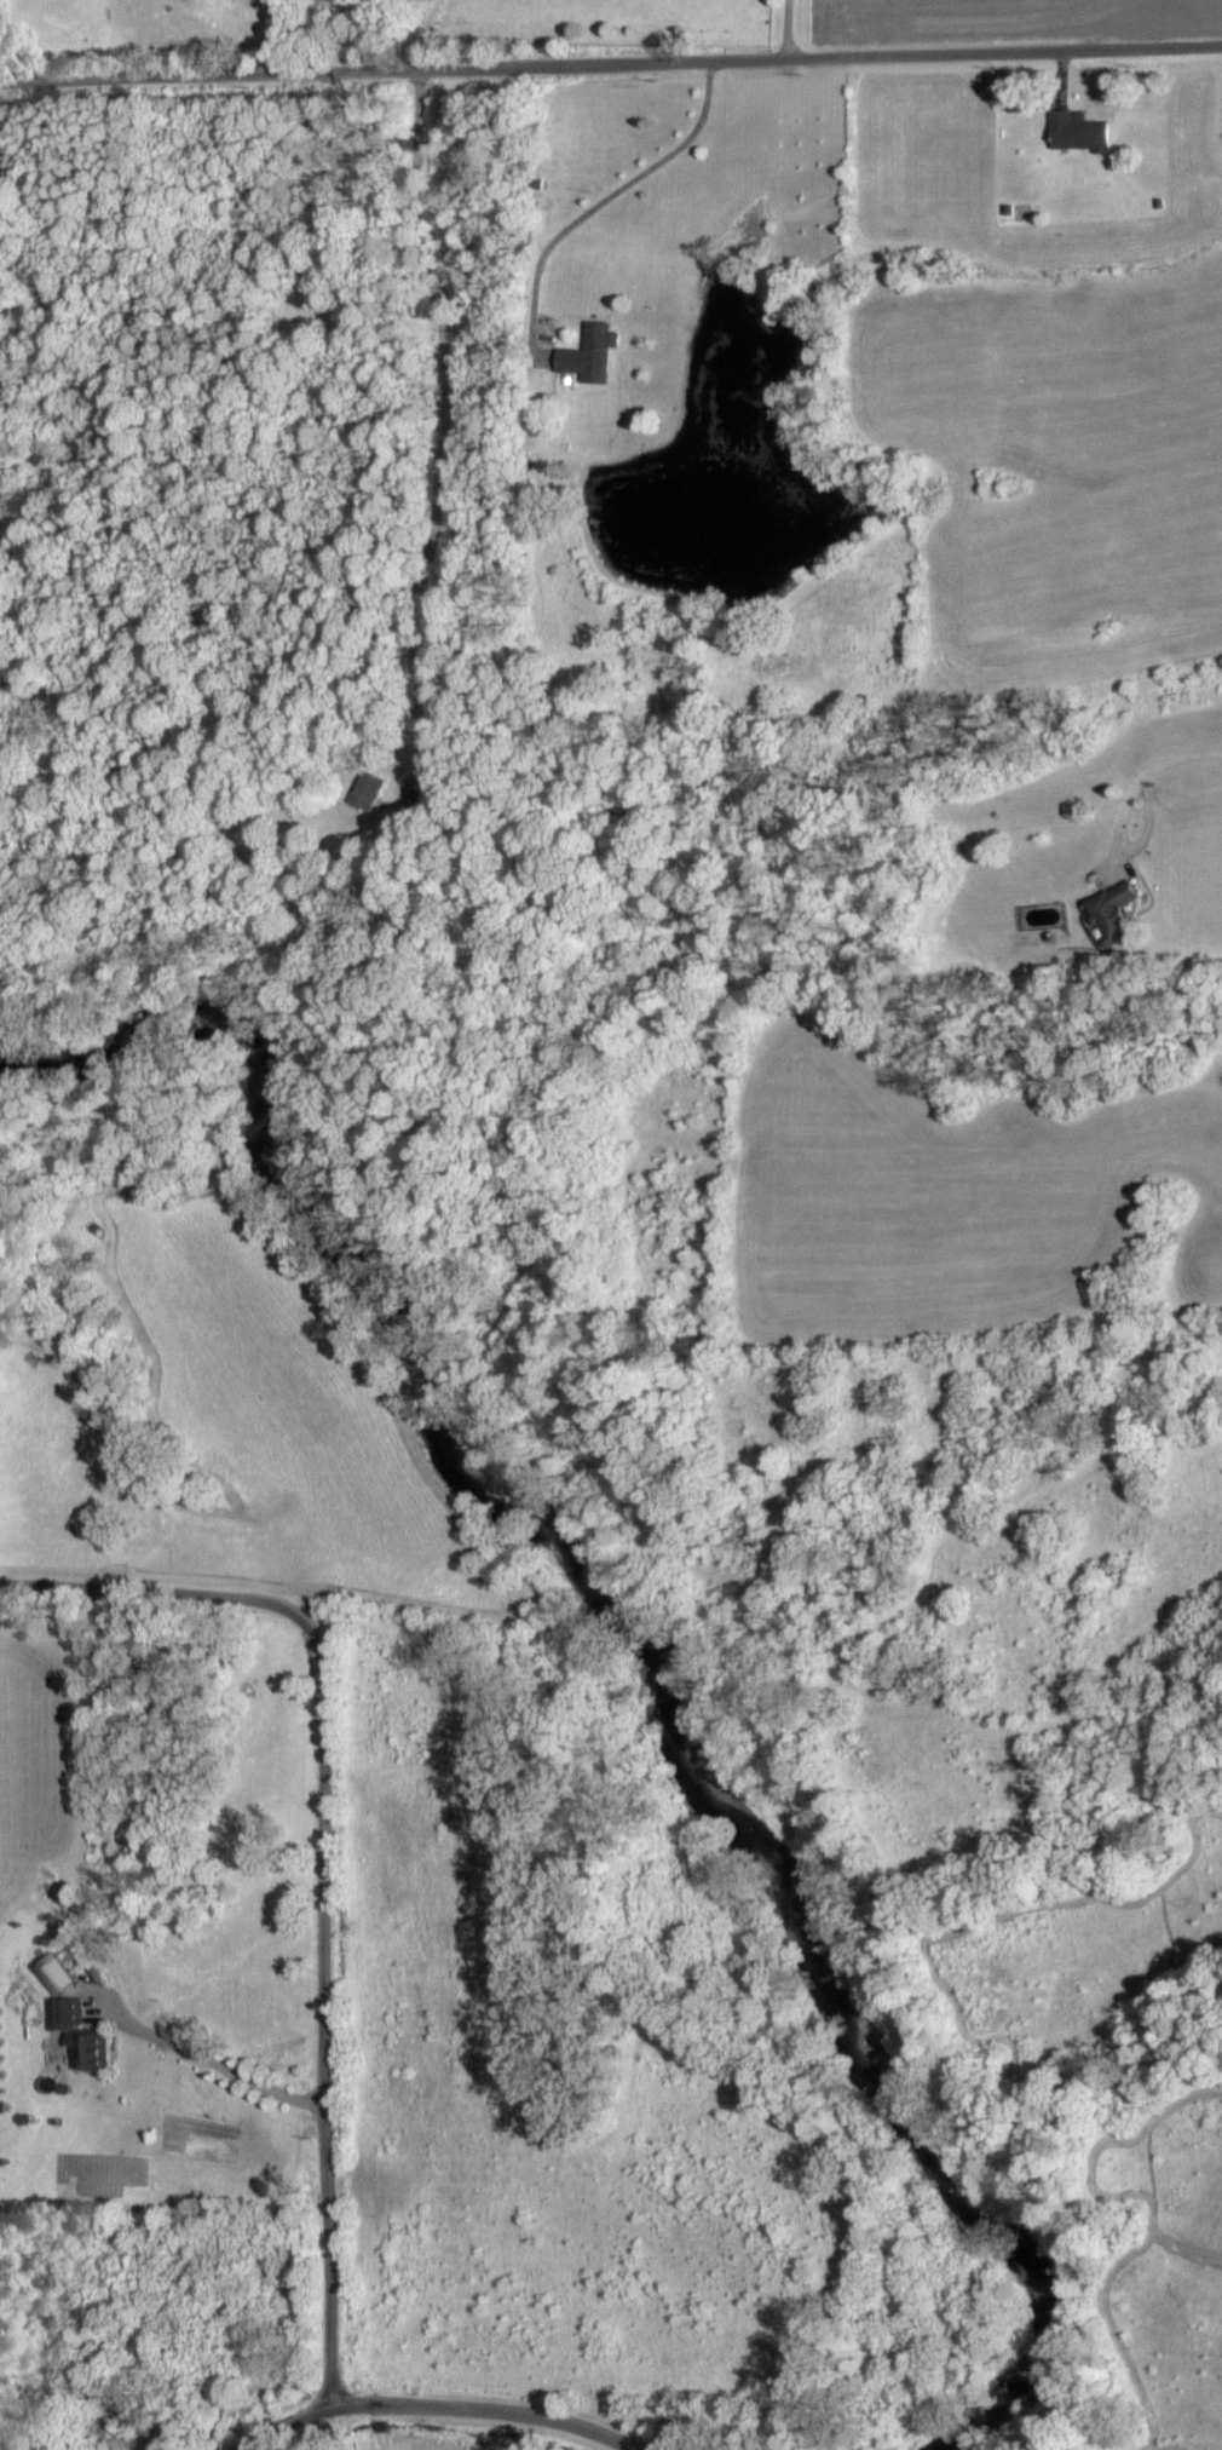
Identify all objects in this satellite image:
road: (788, 28)
road: (610, 62)
building: (1073, 132)
building: (596, 355)
road: (440, 424)
road: (1182, 758)
building: (370, 789)
road: (1128, 852)
road: (327, 1854)
building: (60, 1974)
building: (85, 2036)
road: (207, 2059)
road: (491, 2409)
road: (281, 2423)
road: (377, 2427)

